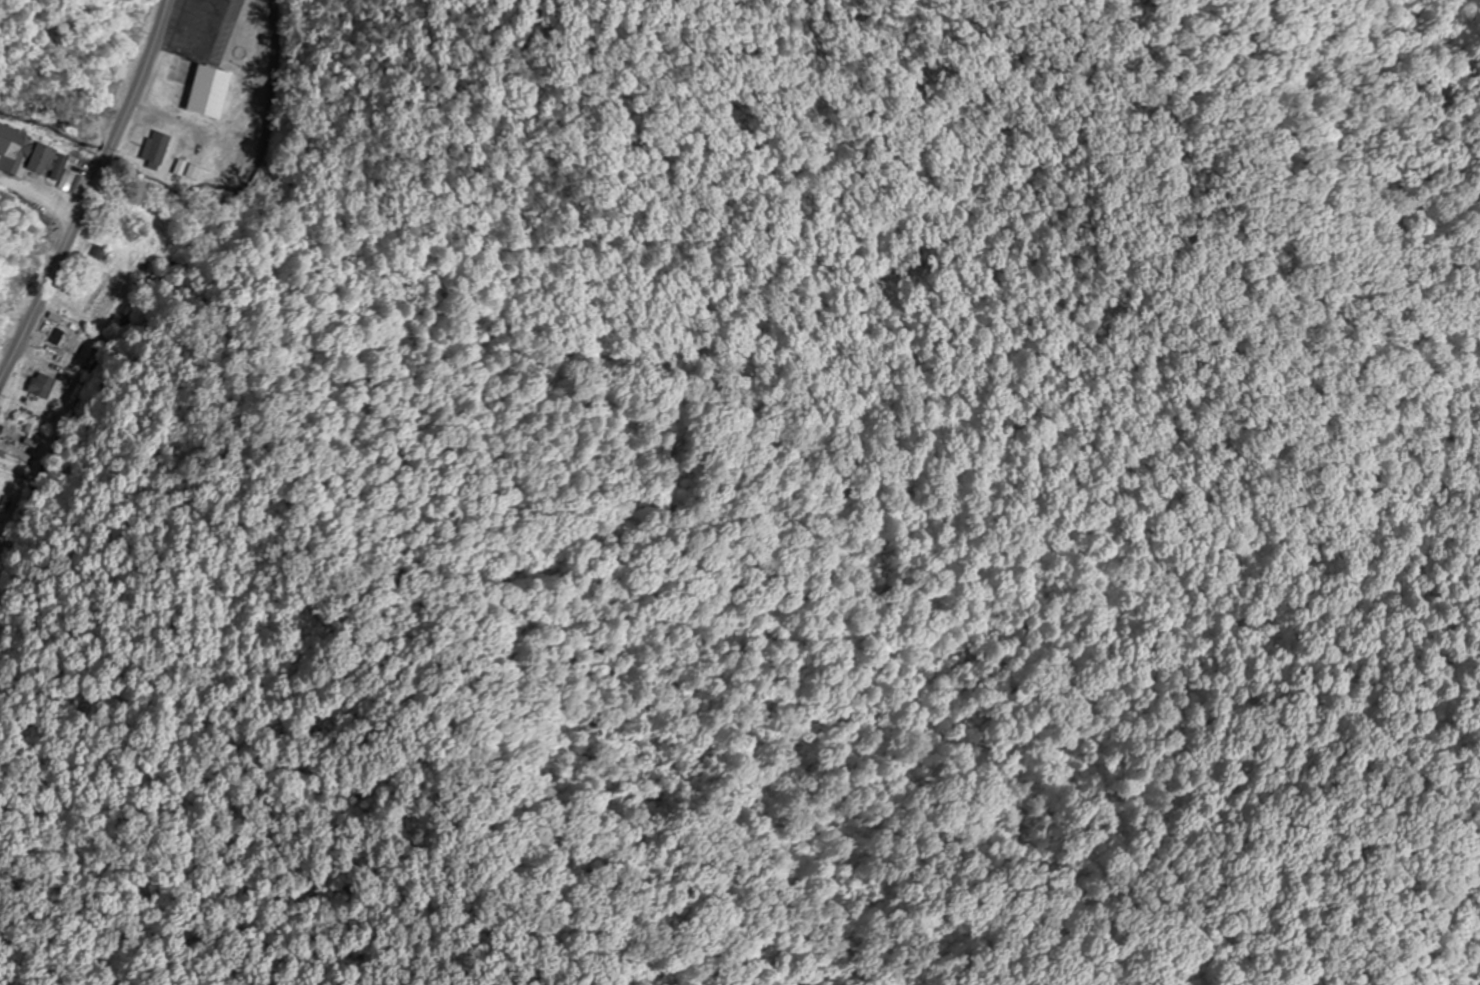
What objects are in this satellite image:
road: (74, 55)
building: (194, 68)
building: (157, 150)
building: (50, 162)
road: (88, 194)
building: (117, 215)
building: (64, 339)
building: (43, 386)
building: (13, 453)

